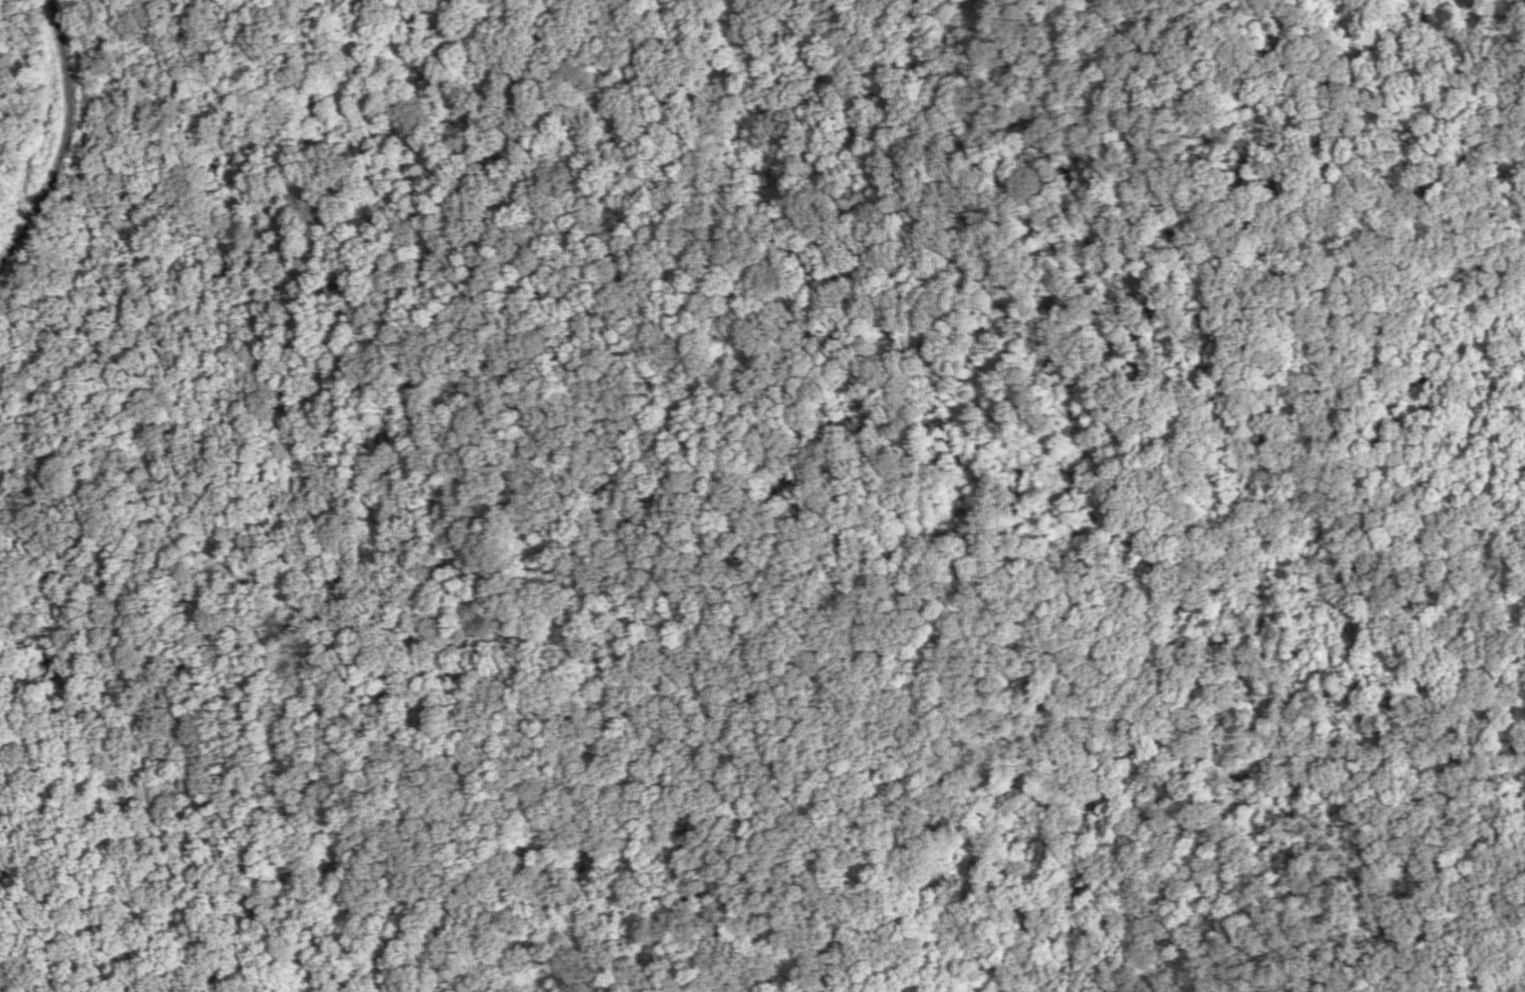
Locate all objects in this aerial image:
road: (68, 145)

